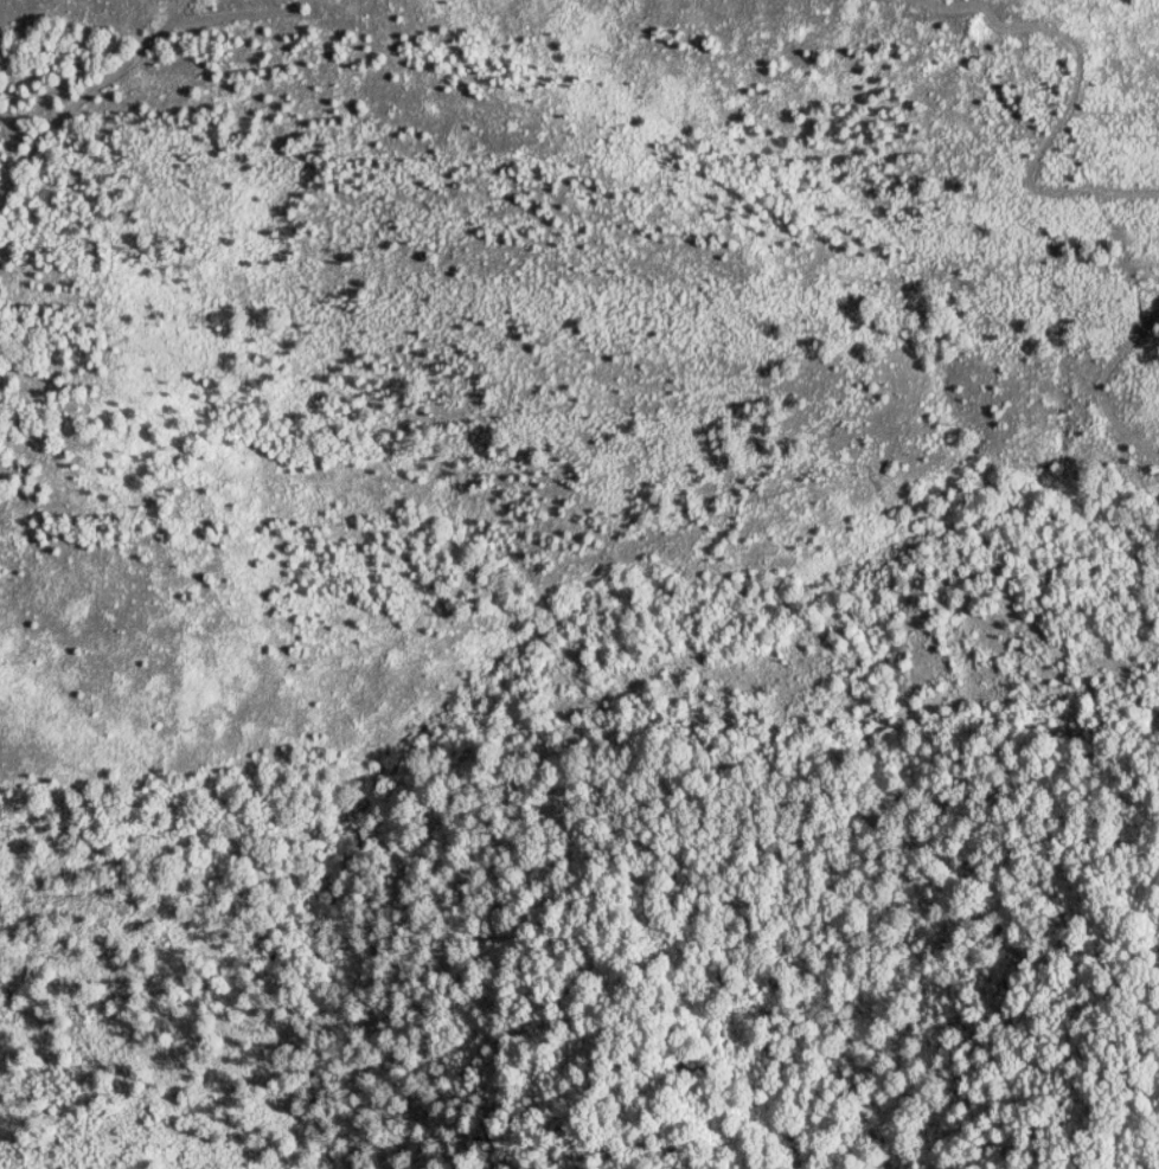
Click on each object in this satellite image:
road: (90, 84)
road: (1077, 166)

